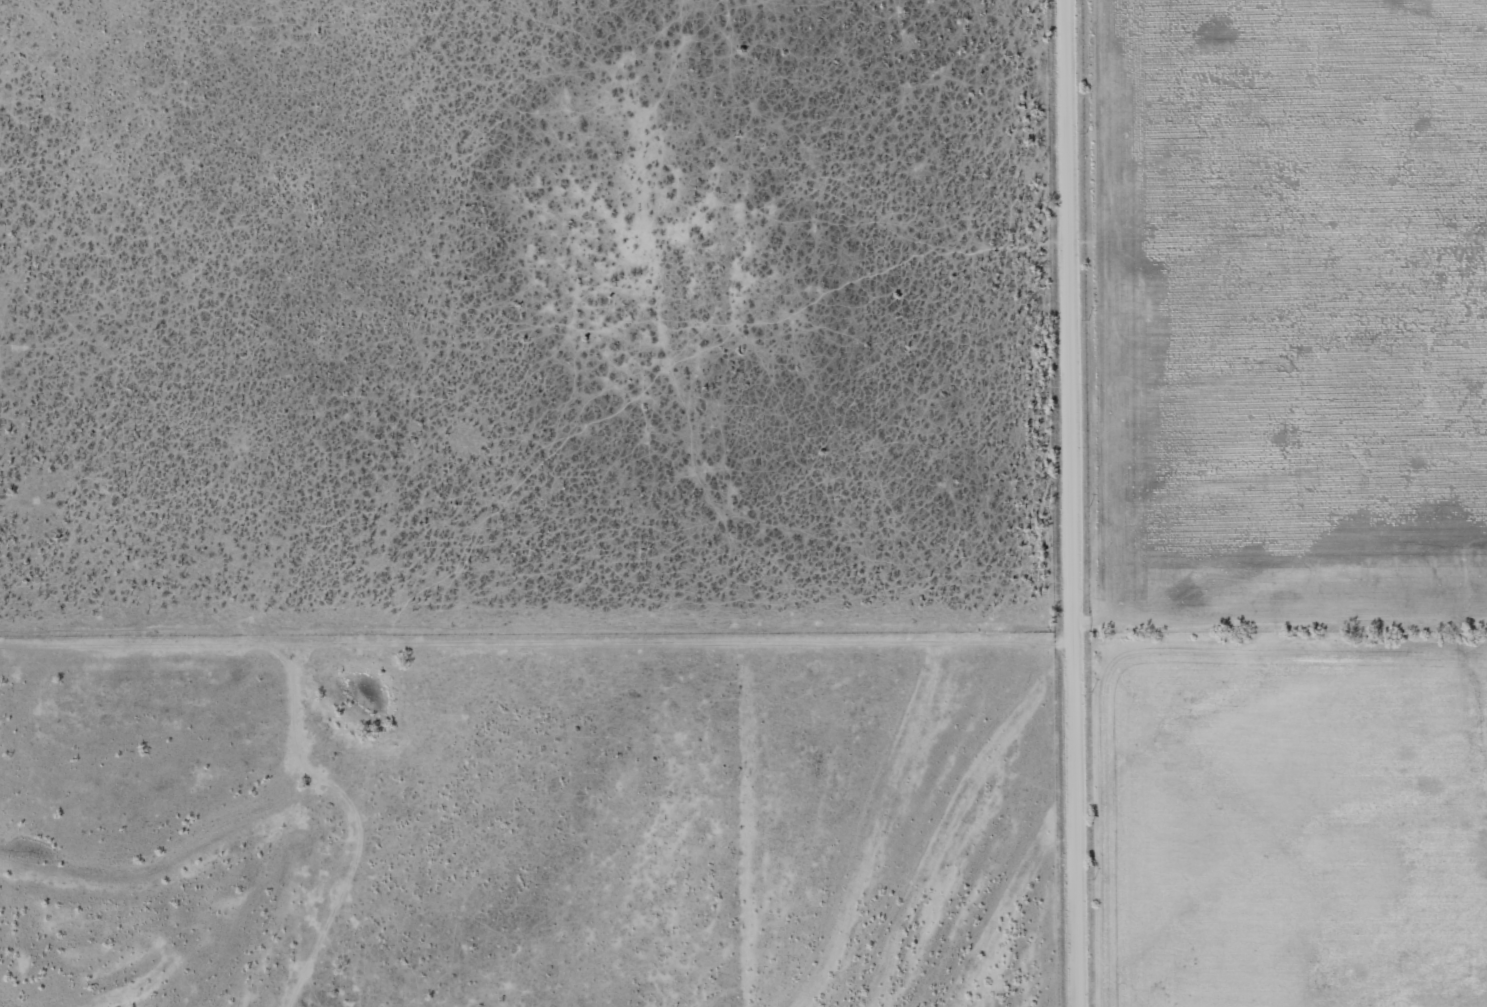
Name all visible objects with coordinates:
road: (1072, 503)

